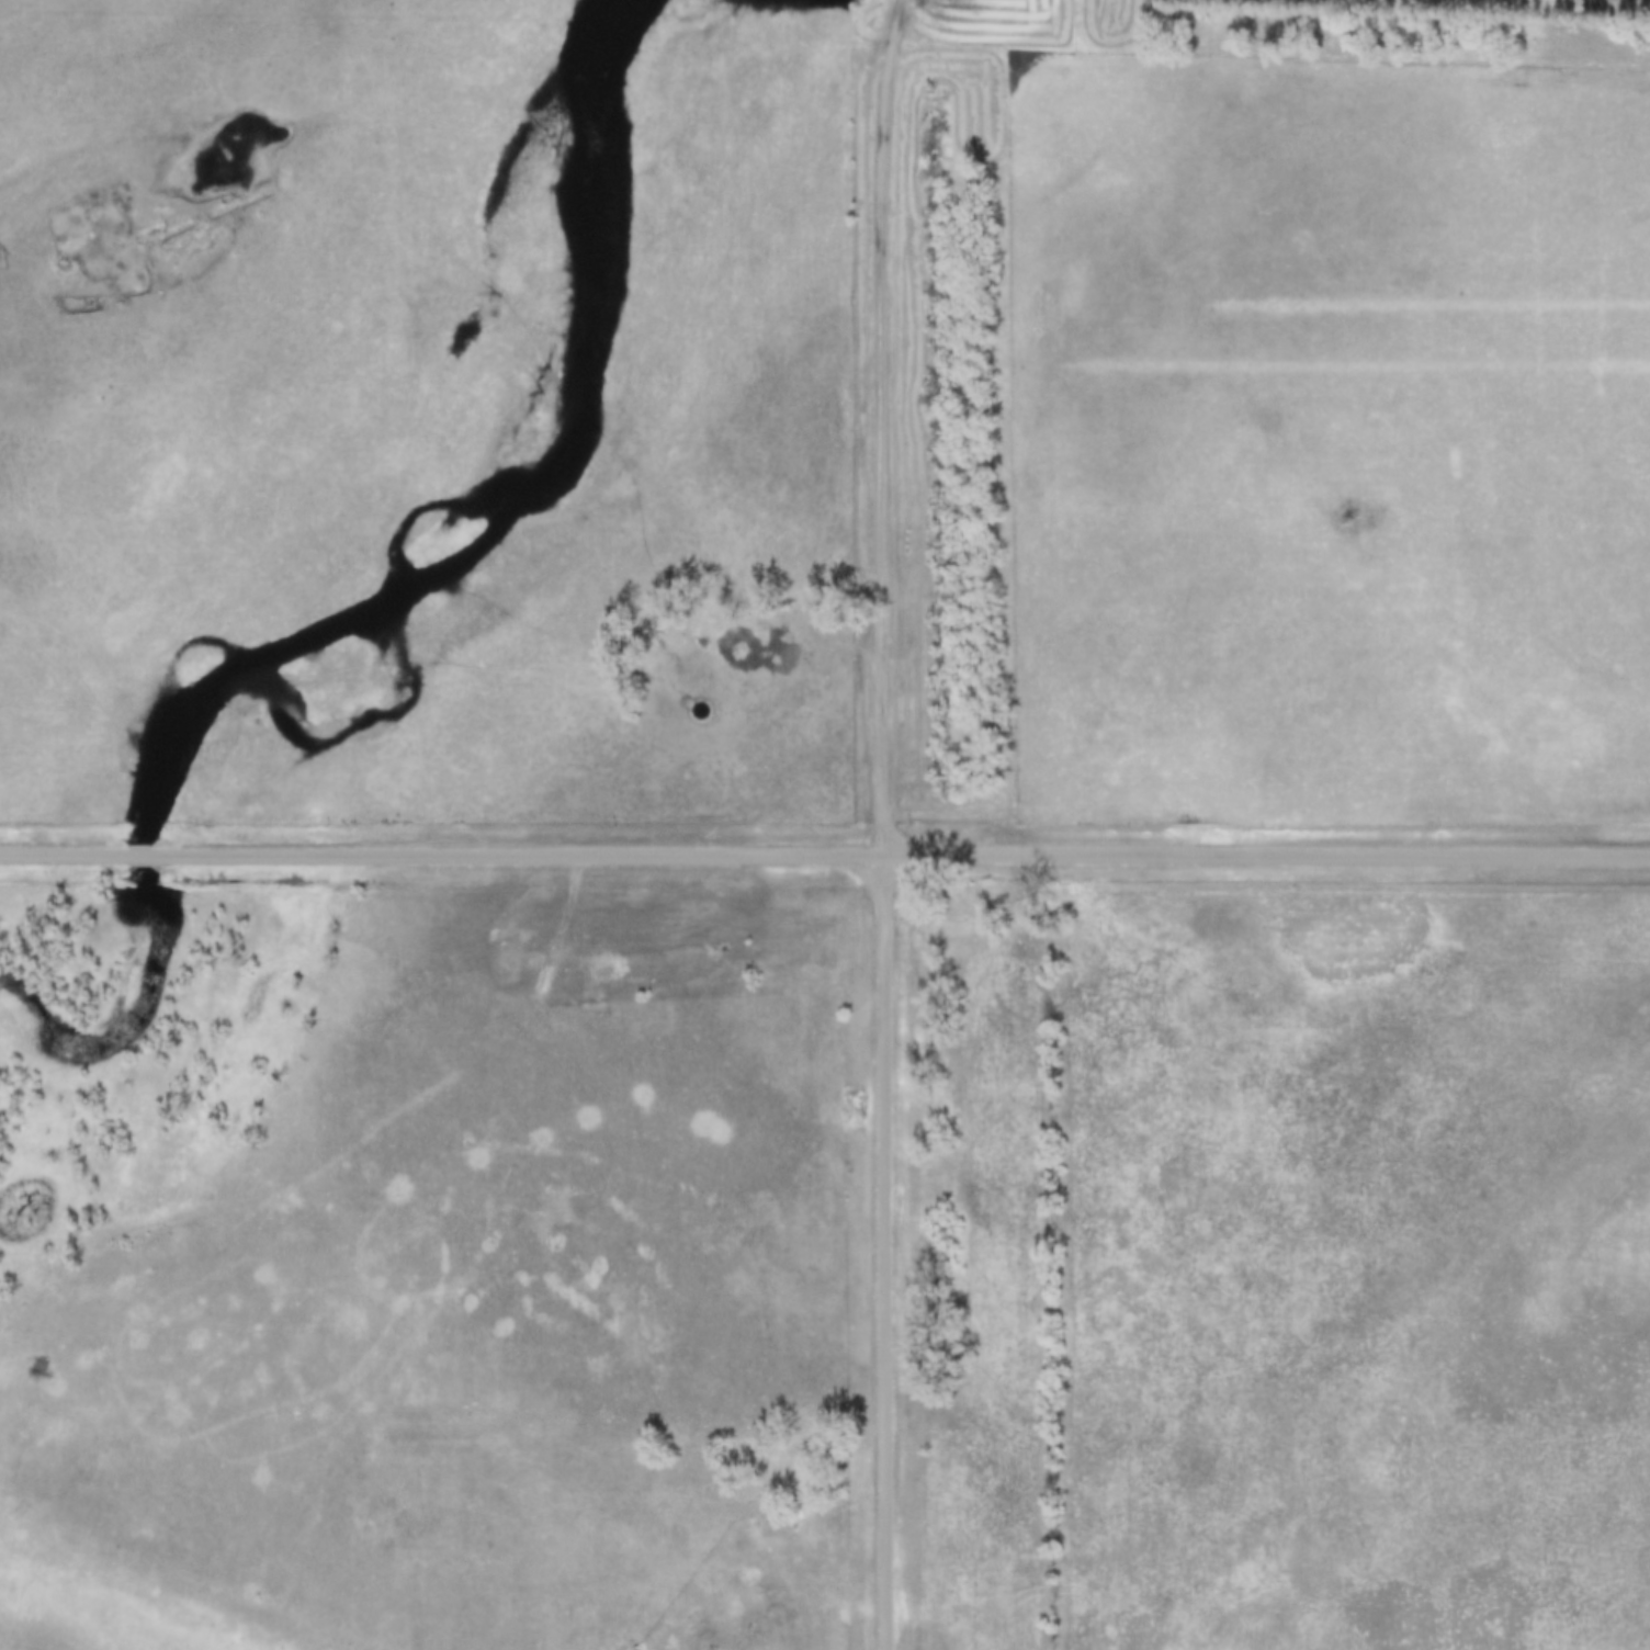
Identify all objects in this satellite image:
power tower: (1, 263)
road: (884, 425)
road: (61, 851)
road: (902, 851)
road: (138, 852)
road: (885, 1251)

